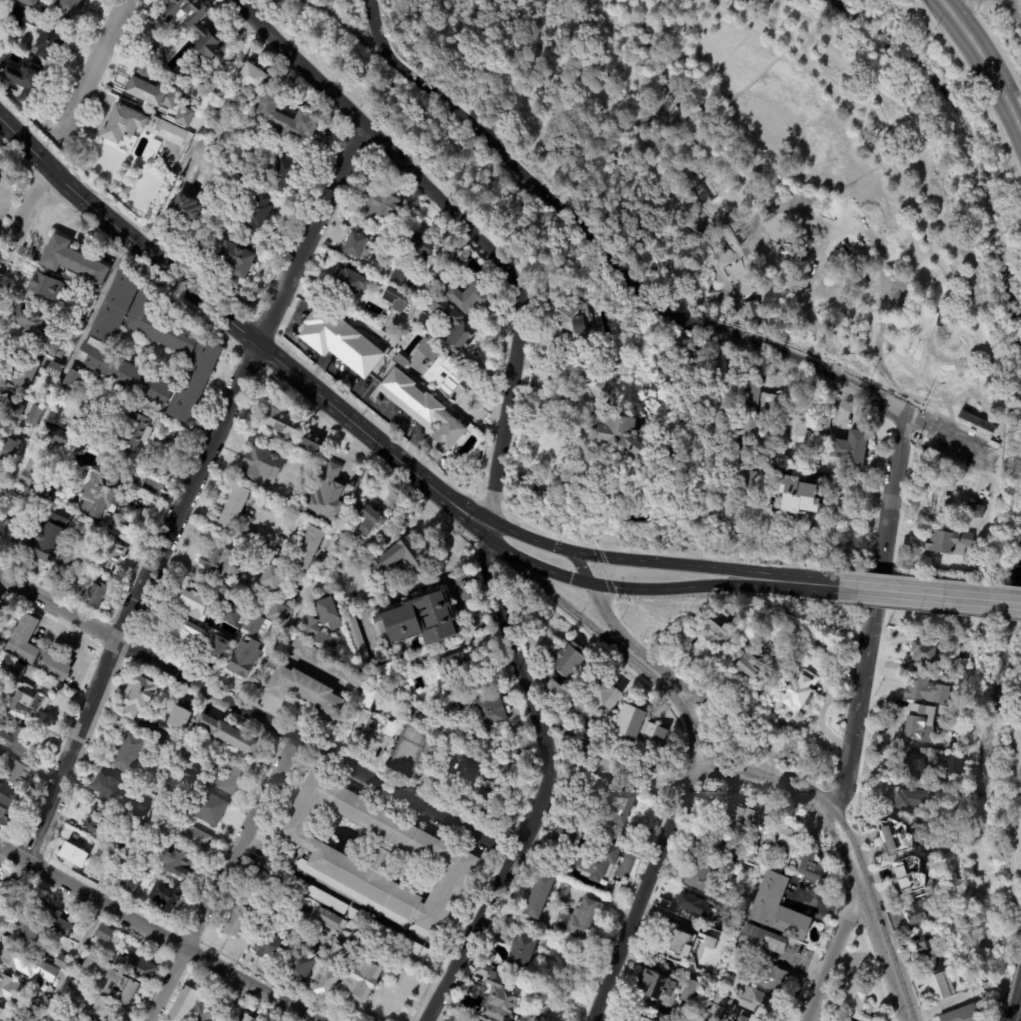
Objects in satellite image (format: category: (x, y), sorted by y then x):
building: (5, 0)
building: (2, 1)
building: (27, 3)
road: (943, 6)
road: (959, 6)
road: (1017, 6)
building: (68, 9)
building: (17, 17)
road: (344, 22)
building: (190, 25)
road: (373, 27)
building: (47, 42)
road: (994, 43)
road: (95, 61)
road: (988, 72)
building: (24, 79)
building: (210, 89)
building: (243, 91)
road: (971, 91)
building: (151, 94)
building: (184, 116)
building: (286, 121)
building: (138, 129)
road: (196, 133)
building: (228, 137)
building: (215, 139)
road: (24, 140)
road: (622, 140)
building: (151, 153)
road: (890, 173)
building: (283, 174)
park: (768, 176)
building: (381, 207)
building: (185, 212)
road: (738, 213)
road: (24, 215)
building: (255, 216)
road: (463, 230)
road: (312, 238)
building: (360, 244)
building: (421, 247)
building: (234, 262)
building: (72, 264)
building: (398, 276)
building: (349, 279)
road: (424, 279)
building: (45, 287)
building: (457, 288)
building: (552, 293)
building: (944, 293)
building: (395, 297)
road: (651, 306)
building: (751, 308)
building: (575, 324)
building: (25, 325)
building: (157, 325)
building: (450, 325)
building: (964, 339)
building: (99, 340)
building: (340, 340)
building: (57, 348)
building: (681, 348)
road: (263, 350)
road: (72, 358)
building: (438, 366)
building: (55, 367)
building: (25, 371)
building: (661, 375)
building: (75, 380)
building: (193, 383)
road: (901, 387)
road: (946, 391)
building: (604, 393)
road: (1012, 393)
building: (756, 397)
building: (12, 411)
building: (421, 411)
building: (35, 415)
building: (825, 421)
building: (281, 422)
building: (796, 429)
building: (140, 433)
building: (619, 434)
building: (59, 436)
building: (746, 440)
building: (310, 445)
building: (16, 447)
building: (851, 451)
building: (262, 465)
building: (29, 472)
building: (744, 489)
building: (102, 495)
building: (326, 496)
building: (799, 496)
building: (938, 497)
building: (234, 507)
building: (975, 510)
building: (274, 511)
building: (369, 520)
building: (7, 526)
road: (334, 538)
building: (46, 539)
road: (527, 539)
road: (492, 540)
building: (947, 541)
building: (307, 548)
building: (213, 553)
traffic signals: (571, 553)
building: (79, 555)
road: (585, 555)
building: (112, 556)
building: (401, 558)
road: (678, 566)
building: (228, 567)
road: (604, 573)
road: (553, 575)
building: (91, 577)
building: (244, 578)
building: (271, 578)
road: (797, 582)
traffic signals: (587, 584)
road: (683, 589)
road: (419, 591)
road: (726, 593)
road: (929, 595)
building: (97, 596)
building: (192, 602)
building: (327, 610)
road: (928, 610)
building: (6, 613)
building: (232, 615)
building: (280, 615)
building: (420, 620)
road: (871, 620)
road: (123, 625)
building: (257, 626)
building: (309, 627)
building: (177, 632)
building: (718, 633)
building: (1, 635)
building: (355, 638)
building: (219, 647)
building: (968, 649)
building: (40, 651)
building: (754, 651)
building: (923, 651)
building: (739, 653)
building: (388, 657)
building: (244, 658)
building: (567, 661)
building: (325, 662)
building: (453, 666)
building: (776, 666)
building: (394, 667)
building: (751, 667)
building: (792, 667)
road: (646, 674)
road: (672, 674)
building: (551, 689)
building: (925, 689)
building: (799, 691)
building: (304, 692)
building: (603, 693)
building: (137, 696)
building: (25, 699)
building: (447, 711)
building: (489, 711)
road: (257, 716)
building: (367, 716)
building: (177, 718)
building: (920, 722)
building: (628, 724)
building: (389, 729)
building: (567, 734)
building: (229, 735)
building: (18, 739)
building: (653, 739)
building: (189, 748)
building: (431, 749)
building: (950, 749)
building: (607, 751)
building: (126, 753)
building: (2, 754)
building: (954, 765)
building: (914, 767)
building: (463, 769)
building: (18, 773)
building: (155, 778)
building: (228, 778)
building: (176, 780)
road: (544, 783)
building: (1, 786)
building: (108, 791)
building: (139, 792)
road: (1010, 797)
road: (812, 801)
building: (911, 802)
building: (7, 807)
building: (617, 807)
building: (209, 808)
building: (132, 811)
building: (734, 818)
building: (94, 825)
building: (566, 835)
building: (192, 838)
building: (896, 838)
building: (784, 844)
building: (715, 848)
building: (72, 855)
building: (139, 856)
building: (375, 857)
building: (753, 858)
building: (116, 860)
building: (599, 862)
building: (178, 864)
building: (807, 868)
building: (250, 873)
building: (912, 875)
building: (699, 877)
road: (220, 878)
building: (132, 883)
road: (646, 887)
building: (561, 893)
building: (313, 894)
building: (166, 897)
building: (537, 898)
building: (689, 901)
building: (37, 908)
building: (777, 908)
building: (921, 914)
building: (300, 918)
building: (329, 920)
building: (578, 920)
building: (236, 922)
road: (874, 923)
building: (511, 924)
building: (66, 927)
building: (311, 927)
building: (376, 927)
building: (32, 931)
building: (106, 934)
road: (154, 935)
building: (678, 940)
building: (707, 940)
building: (760, 940)
building: (269, 947)
building: (412, 948)
building: (521, 951)
road: (832, 951)
building: (331, 952)
building: (425, 955)
building: (931, 957)
building: (488, 959)
building: (63, 961)
road: (70, 963)
building: (736, 963)
building: (29, 964)
building: (94, 964)
building: (139, 967)
building: (298, 968)
building: (770, 977)
building: (362, 979)
road: (1011, 981)
building: (656, 983)
building: (325, 985)
building: (125, 986)
building: (10, 987)
building: (940, 987)
building: (688, 991)
building: (496, 996)
building: (720, 999)
building: (857, 1000)
building: (186, 1002)
building: (757, 1002)
road: (1017, 1007)
building: (31, 1010)
building: (111, 1010)
building: (1, 1011)
building: (714, 1011)
building: (82, 1012)
road: (271, 1012)
building: (217, 1013)
building: (963, 1015)
building: (248, 1017)
building: (638, 1018)
building: (741, 1019)
building: (833, 1020)
building: (839, 1020)

